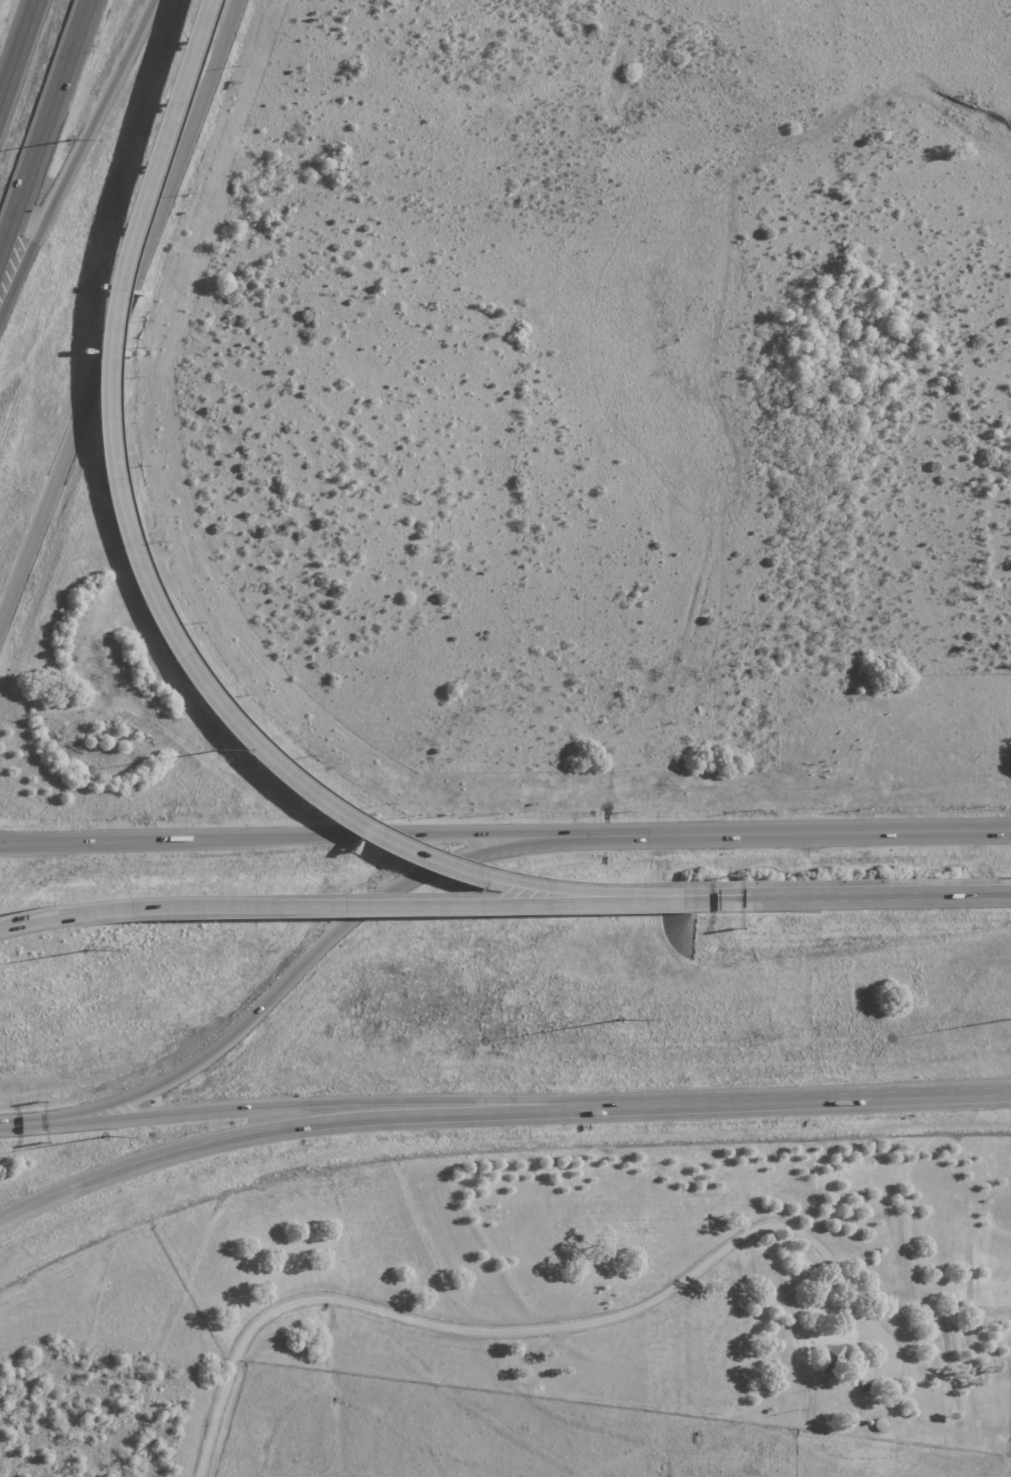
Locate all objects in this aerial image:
road: (17, 49)
road: (41, 118)
road: (74, 152)
road: (105, 302)
road: (146, 573)
road: (789, 831)
road: (283, 834)
road: (16, 840)
road: (808, 895)
road: (302, 901)
road: (291, 971)
road: (768, 1098)
road: (274, 1106)
road: (11, 1125)
road: (256, 1131)
road: (511, 1331)
building: (831, 1360)
building: (865, 1382)
building: (879, 1422)
storage tank: (879, 1422)

